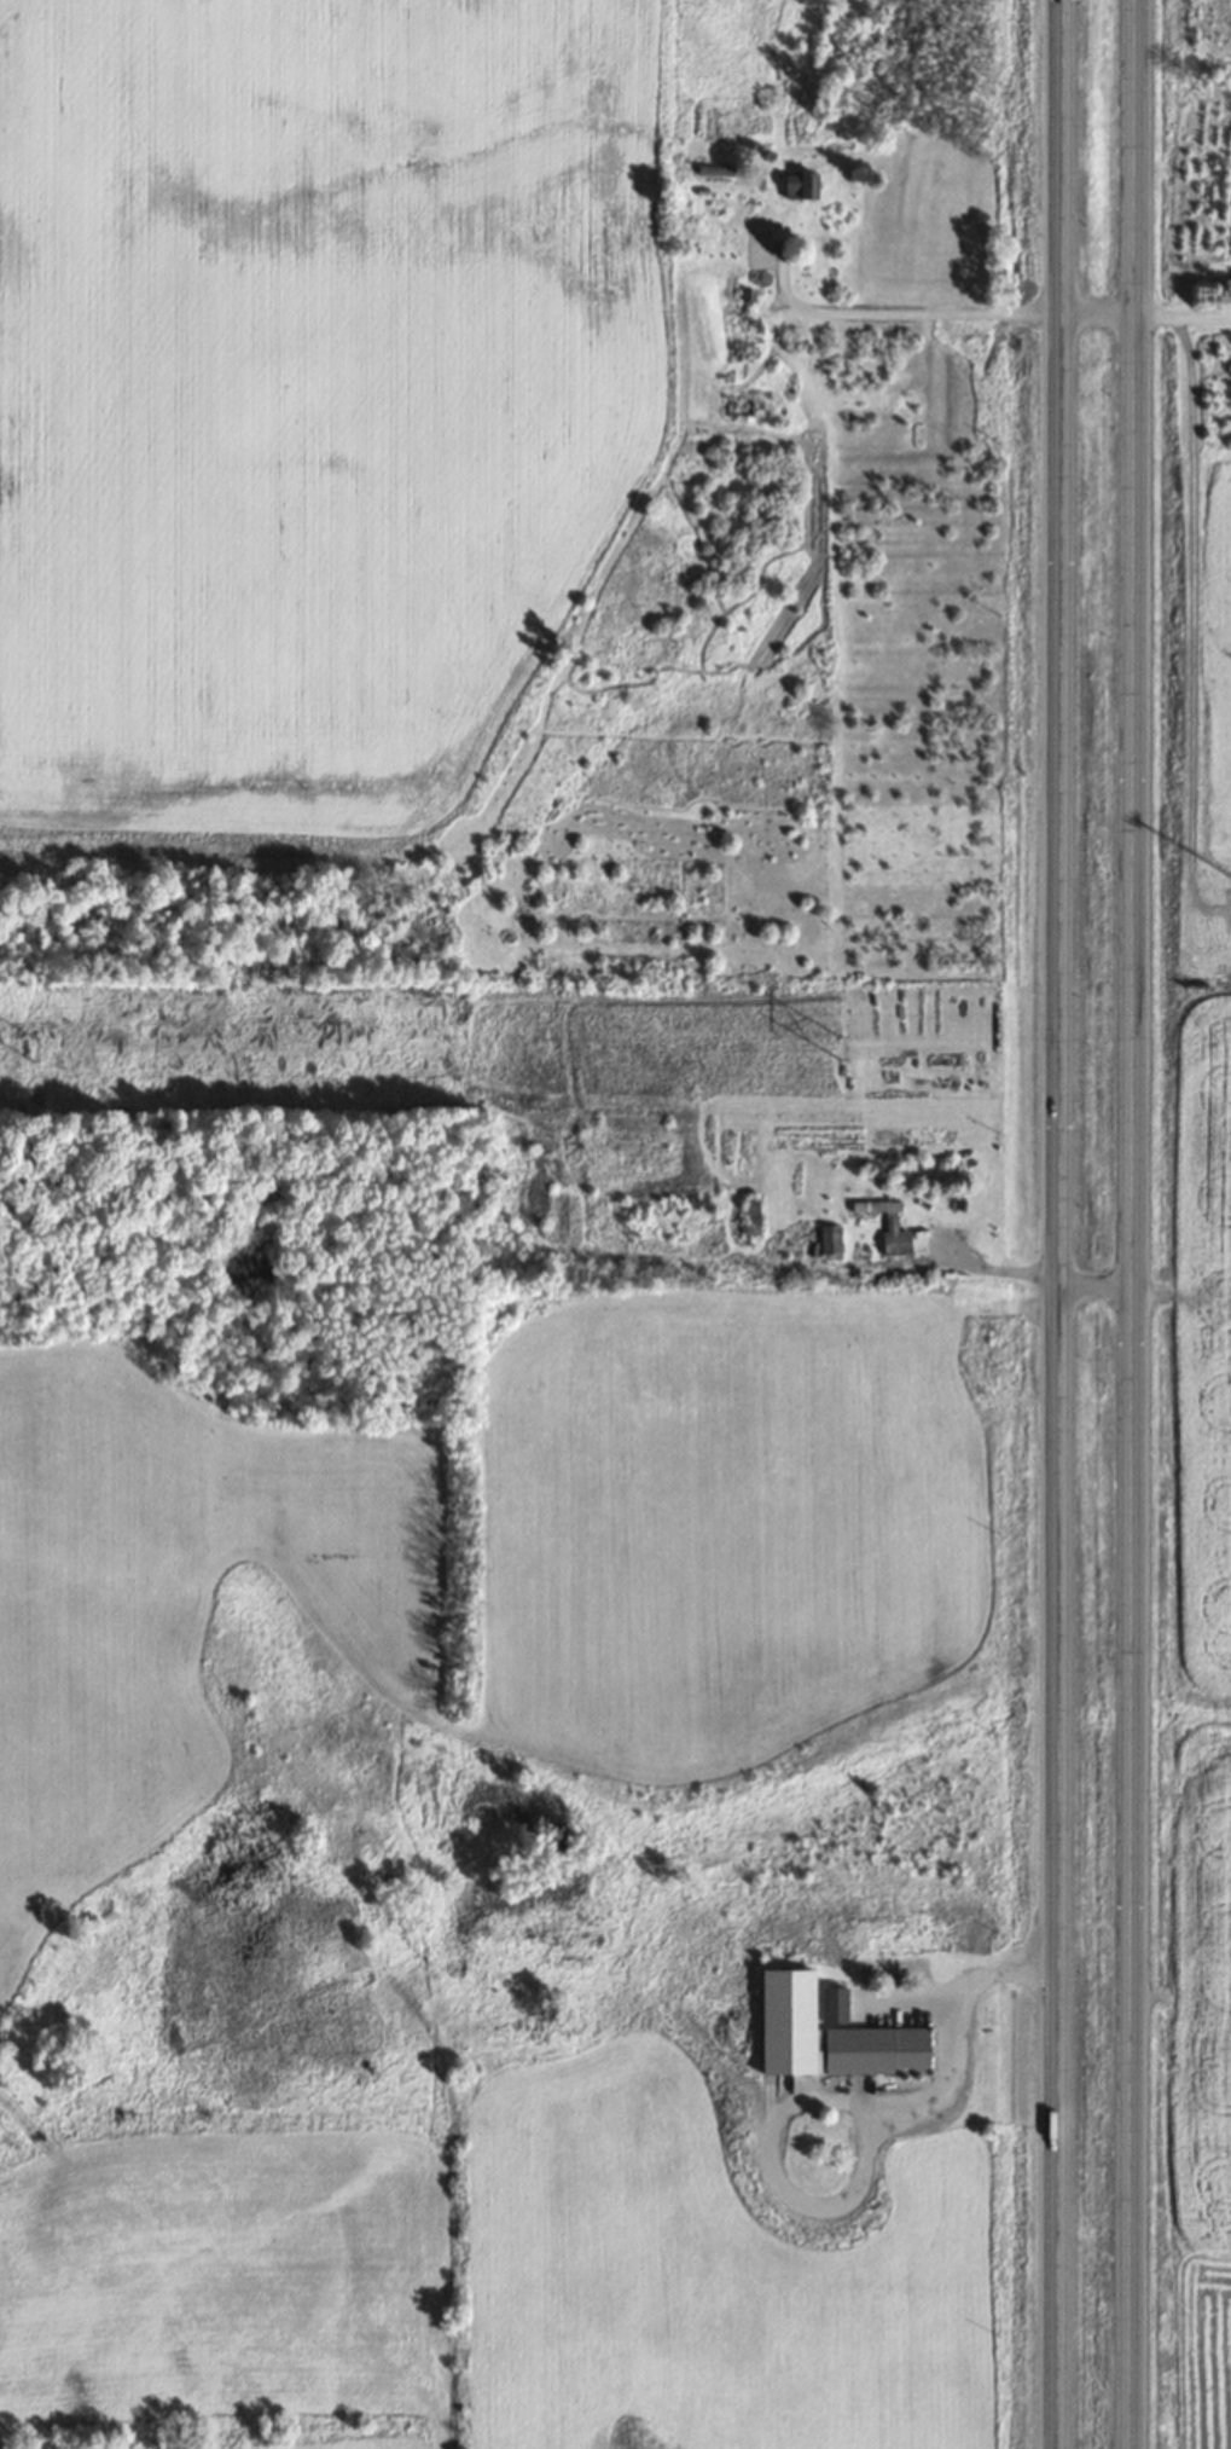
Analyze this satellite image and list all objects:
building: (714, 168)
building: (800, 183)
power tower: (842, 1044)
power tower: (37, 1047)
building: (750, 1214)
building: (888, 1224)
road: (1061, 1224)
road: (1131, 1224)
building: (829, 1238)
building: (832, 2005)
building: (873, 2050)

